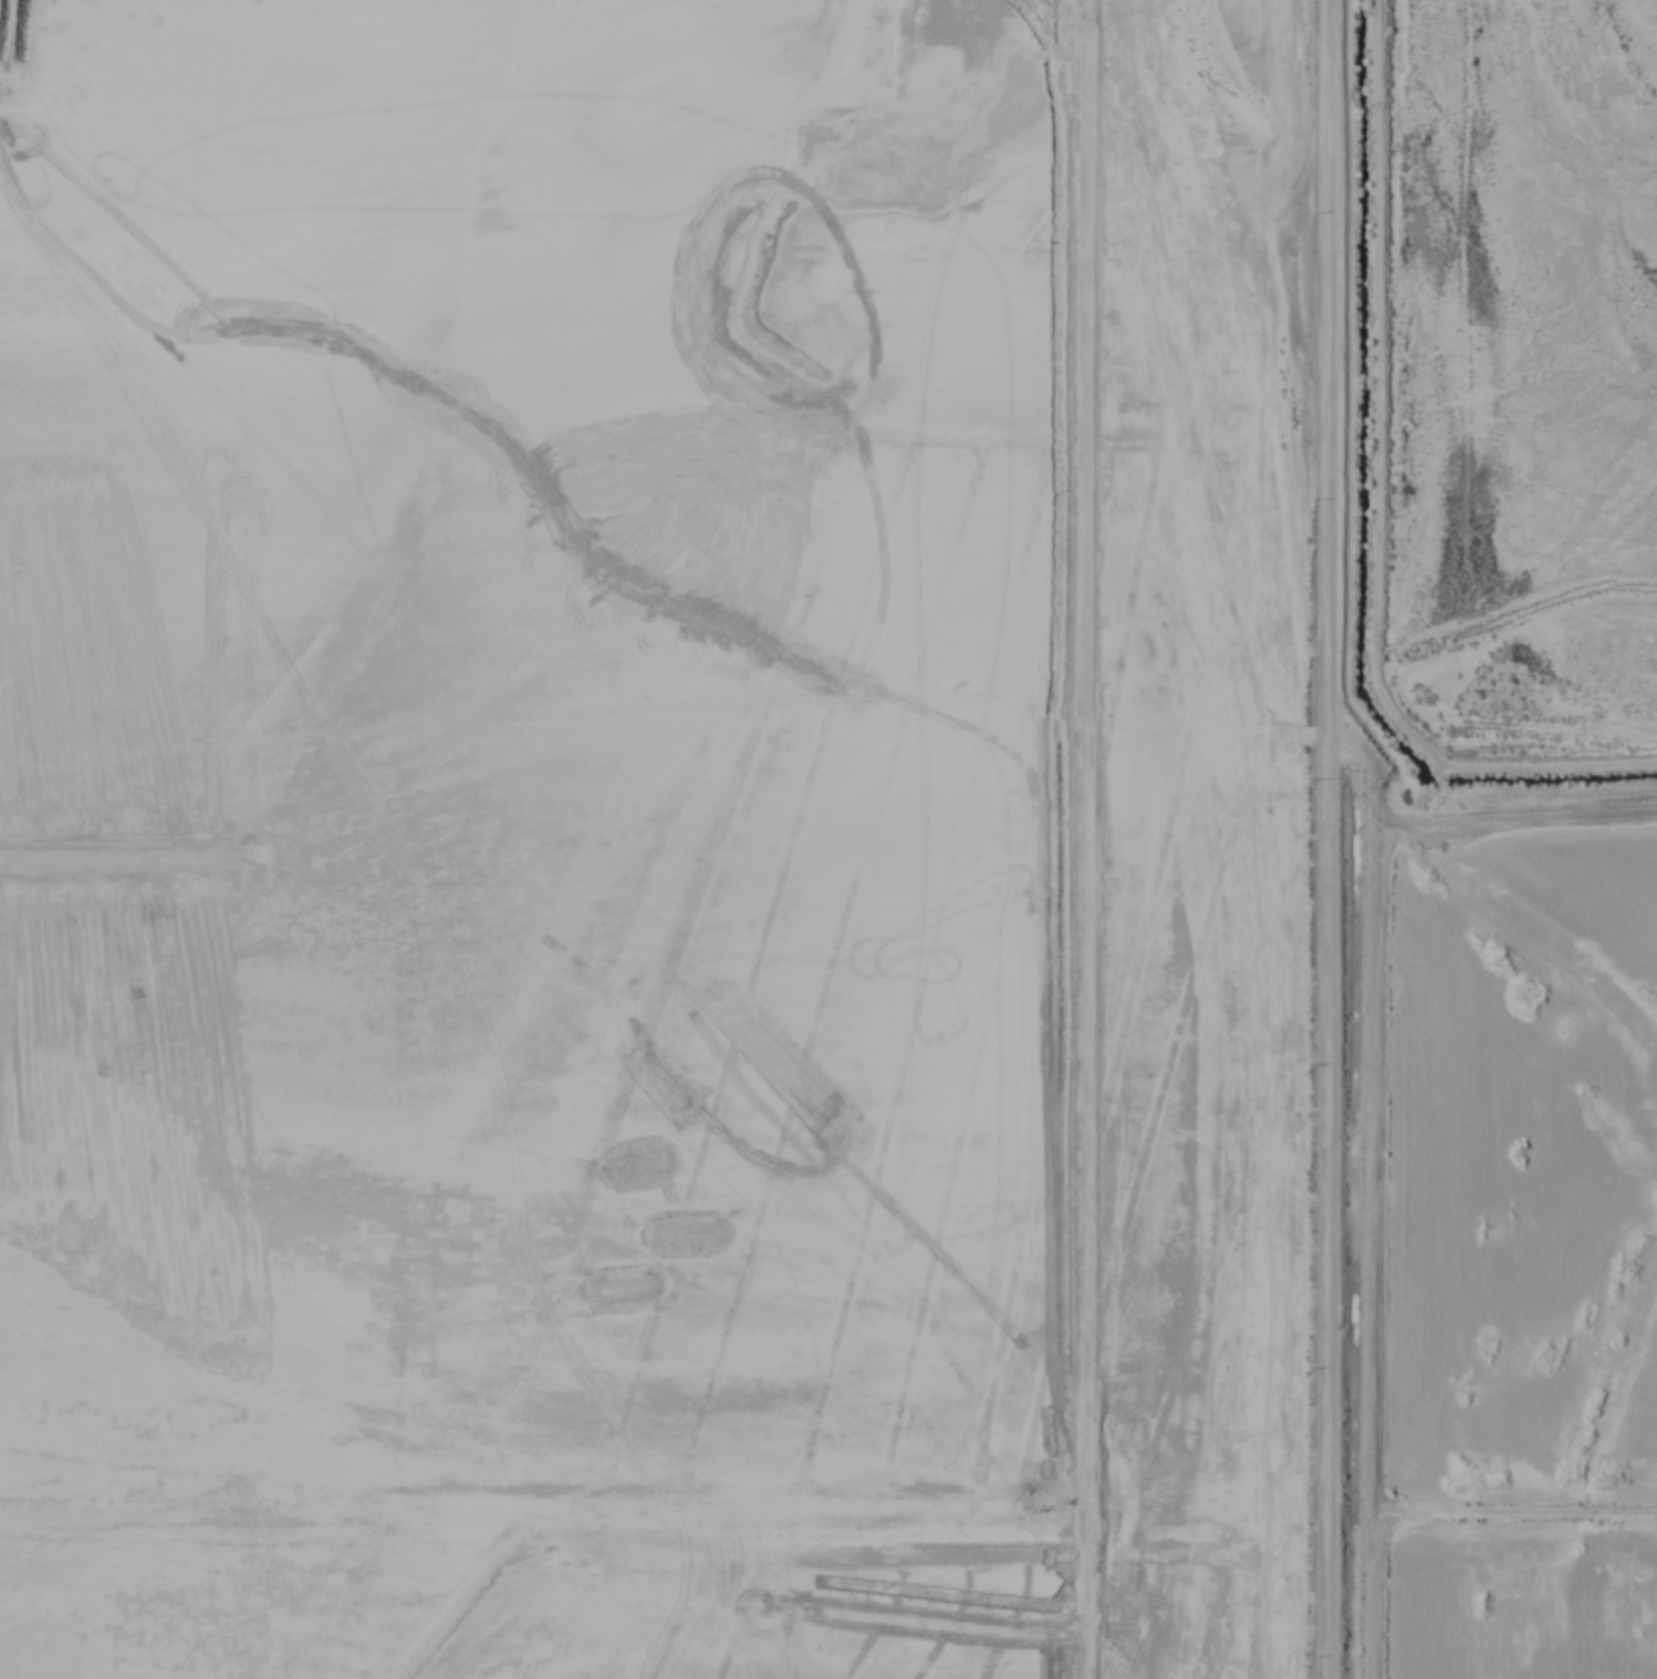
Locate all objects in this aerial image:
parking lot: (1359, 743)
road: (1317, 839)

